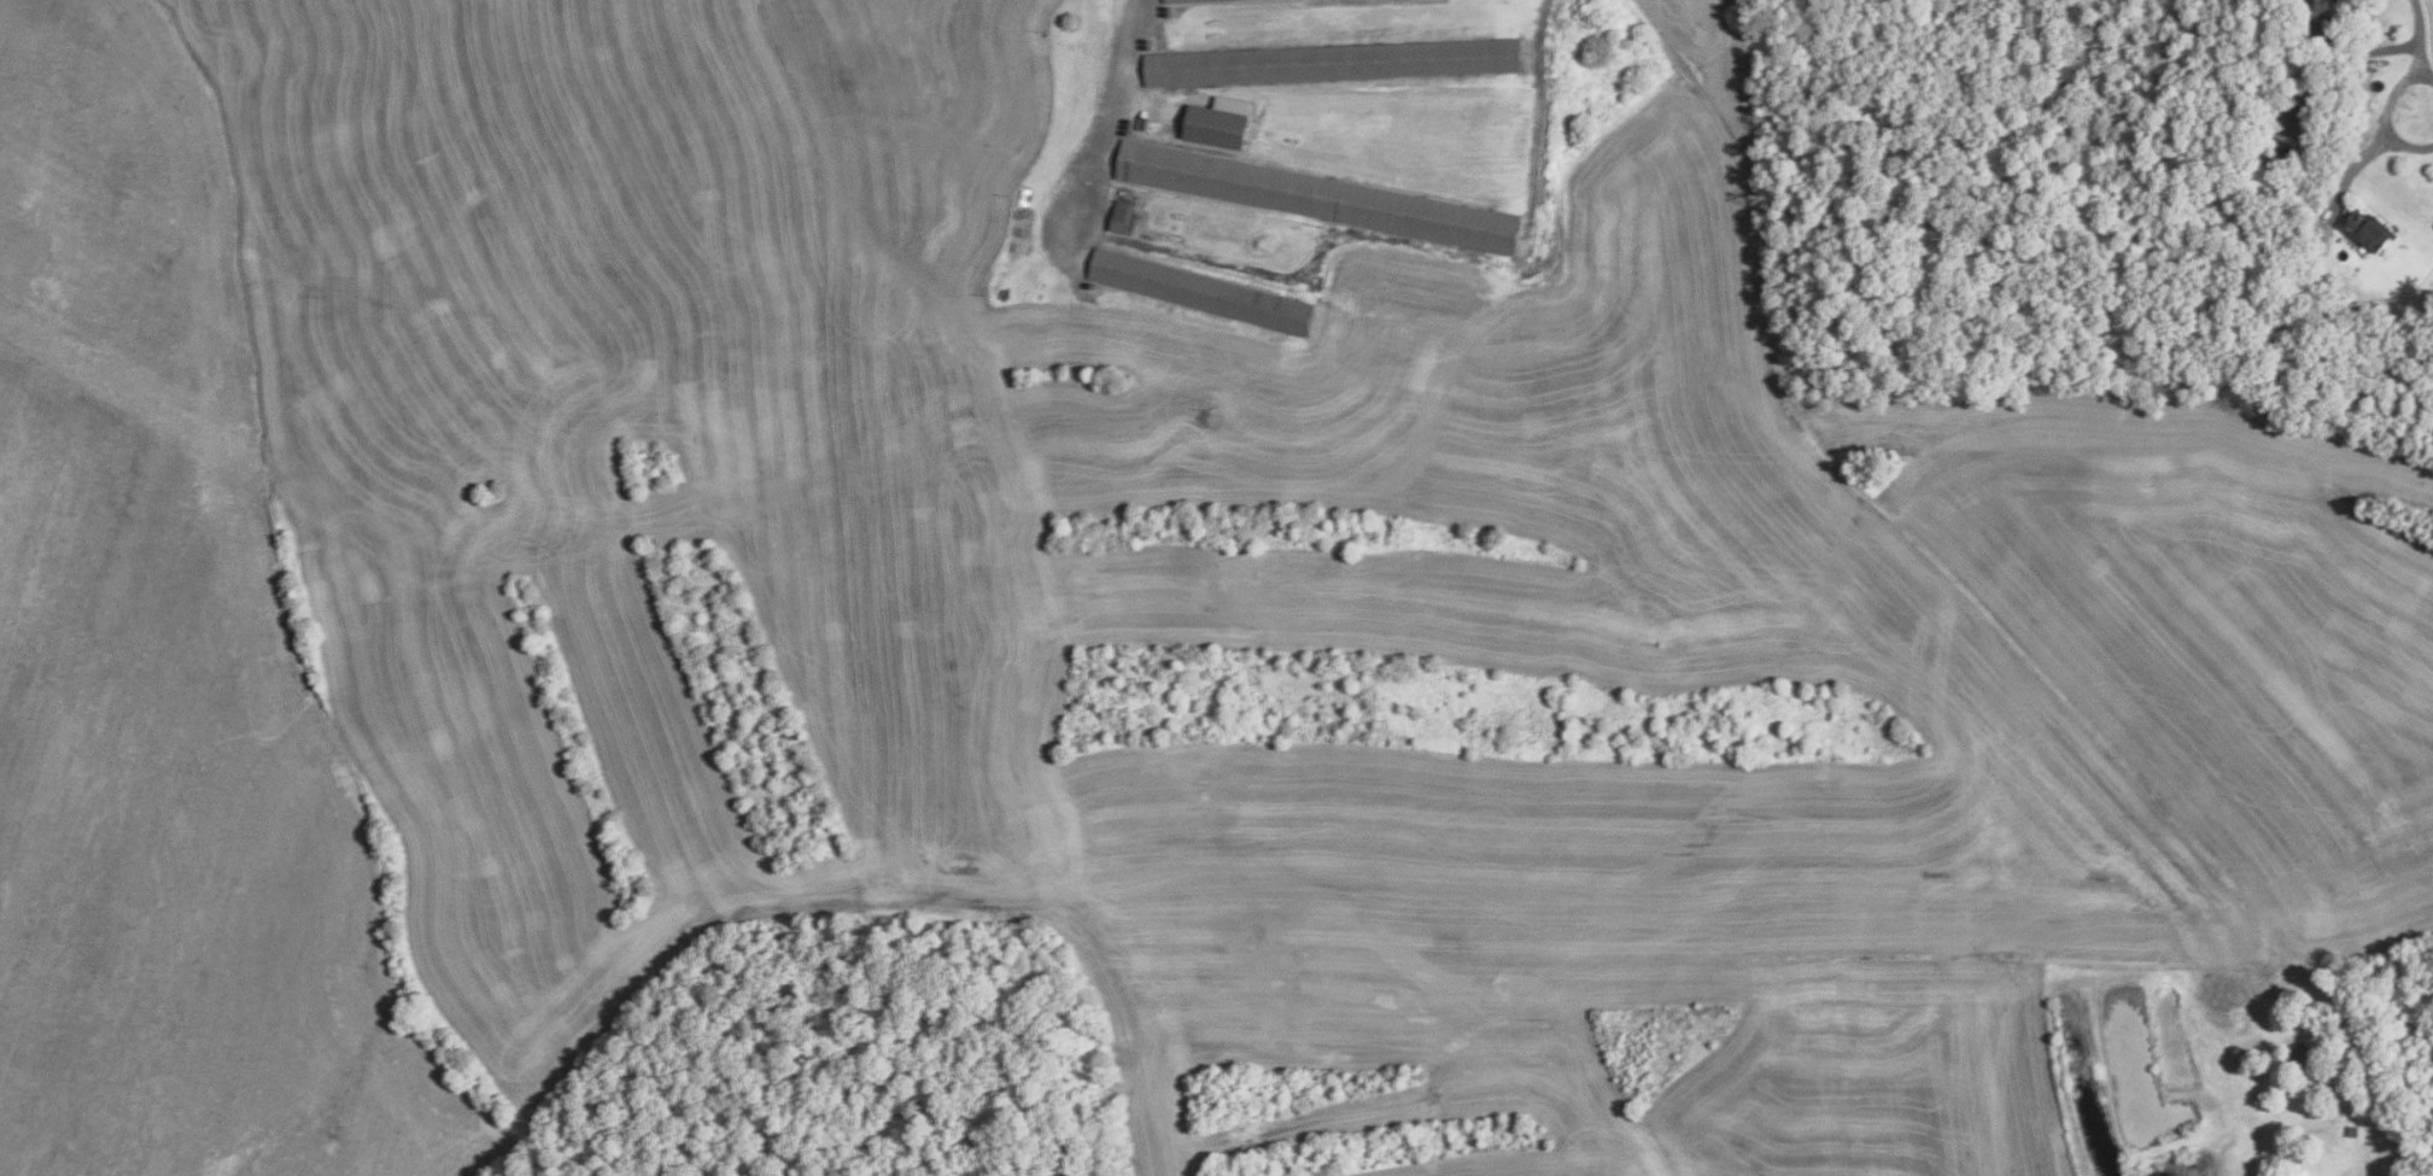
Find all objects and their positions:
building: (1193, 1)
building: (2314, 13)
road: (2419, 37)
building: (1332, 63)
building: (2300, 107)
road: (2384, 112)
road: (1105, 113)
building: (1216, 123)
building: (2239, 131)
road: (1743, 165)
building: (2250, 171)
building: (2277, 172)
crop: (122, 191)
building: (1318, 198)
building: (1122, 217)
building: (2367, 230)
crop: (628, 234)
building: (1198, 292)
building: (2351, 1035)
building: (2297, 1052)
building: (2353, 1131)

